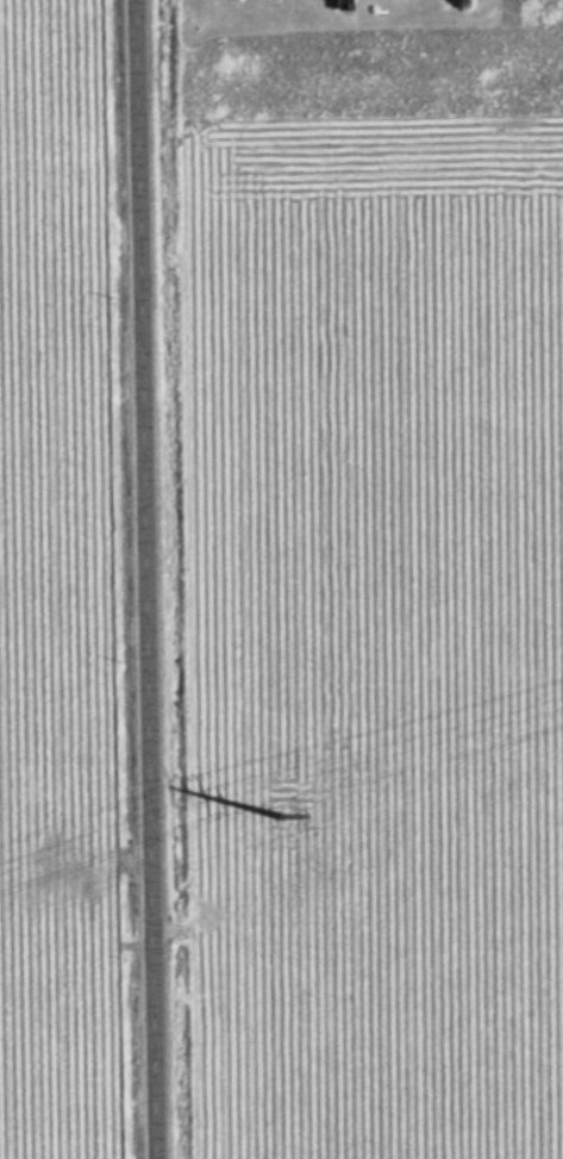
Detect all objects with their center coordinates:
building: (345, 4)
road: (145, 579)
power tower: (280, 815)

